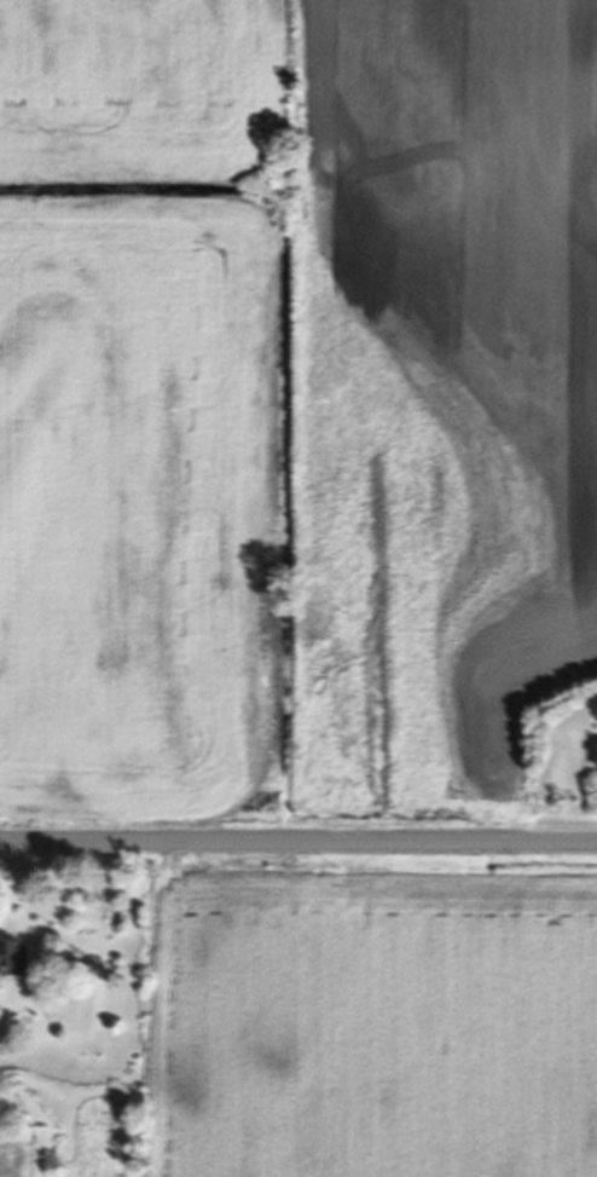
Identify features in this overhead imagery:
road: (298, 842)
building: (16, 963)
building: (28, 1094)

